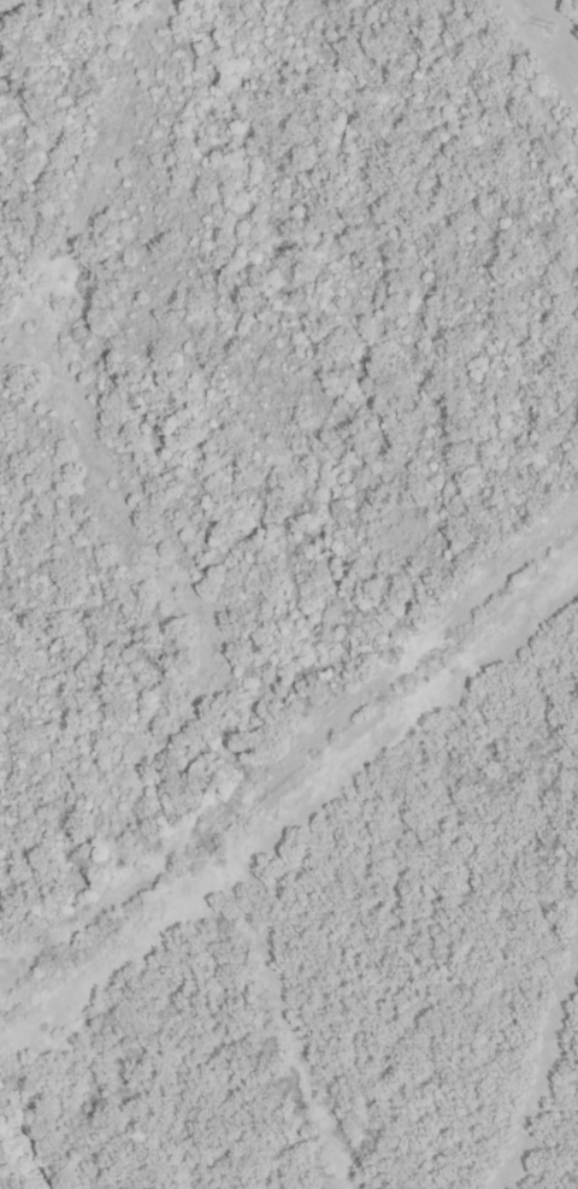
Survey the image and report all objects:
power tower: (549, 25)

